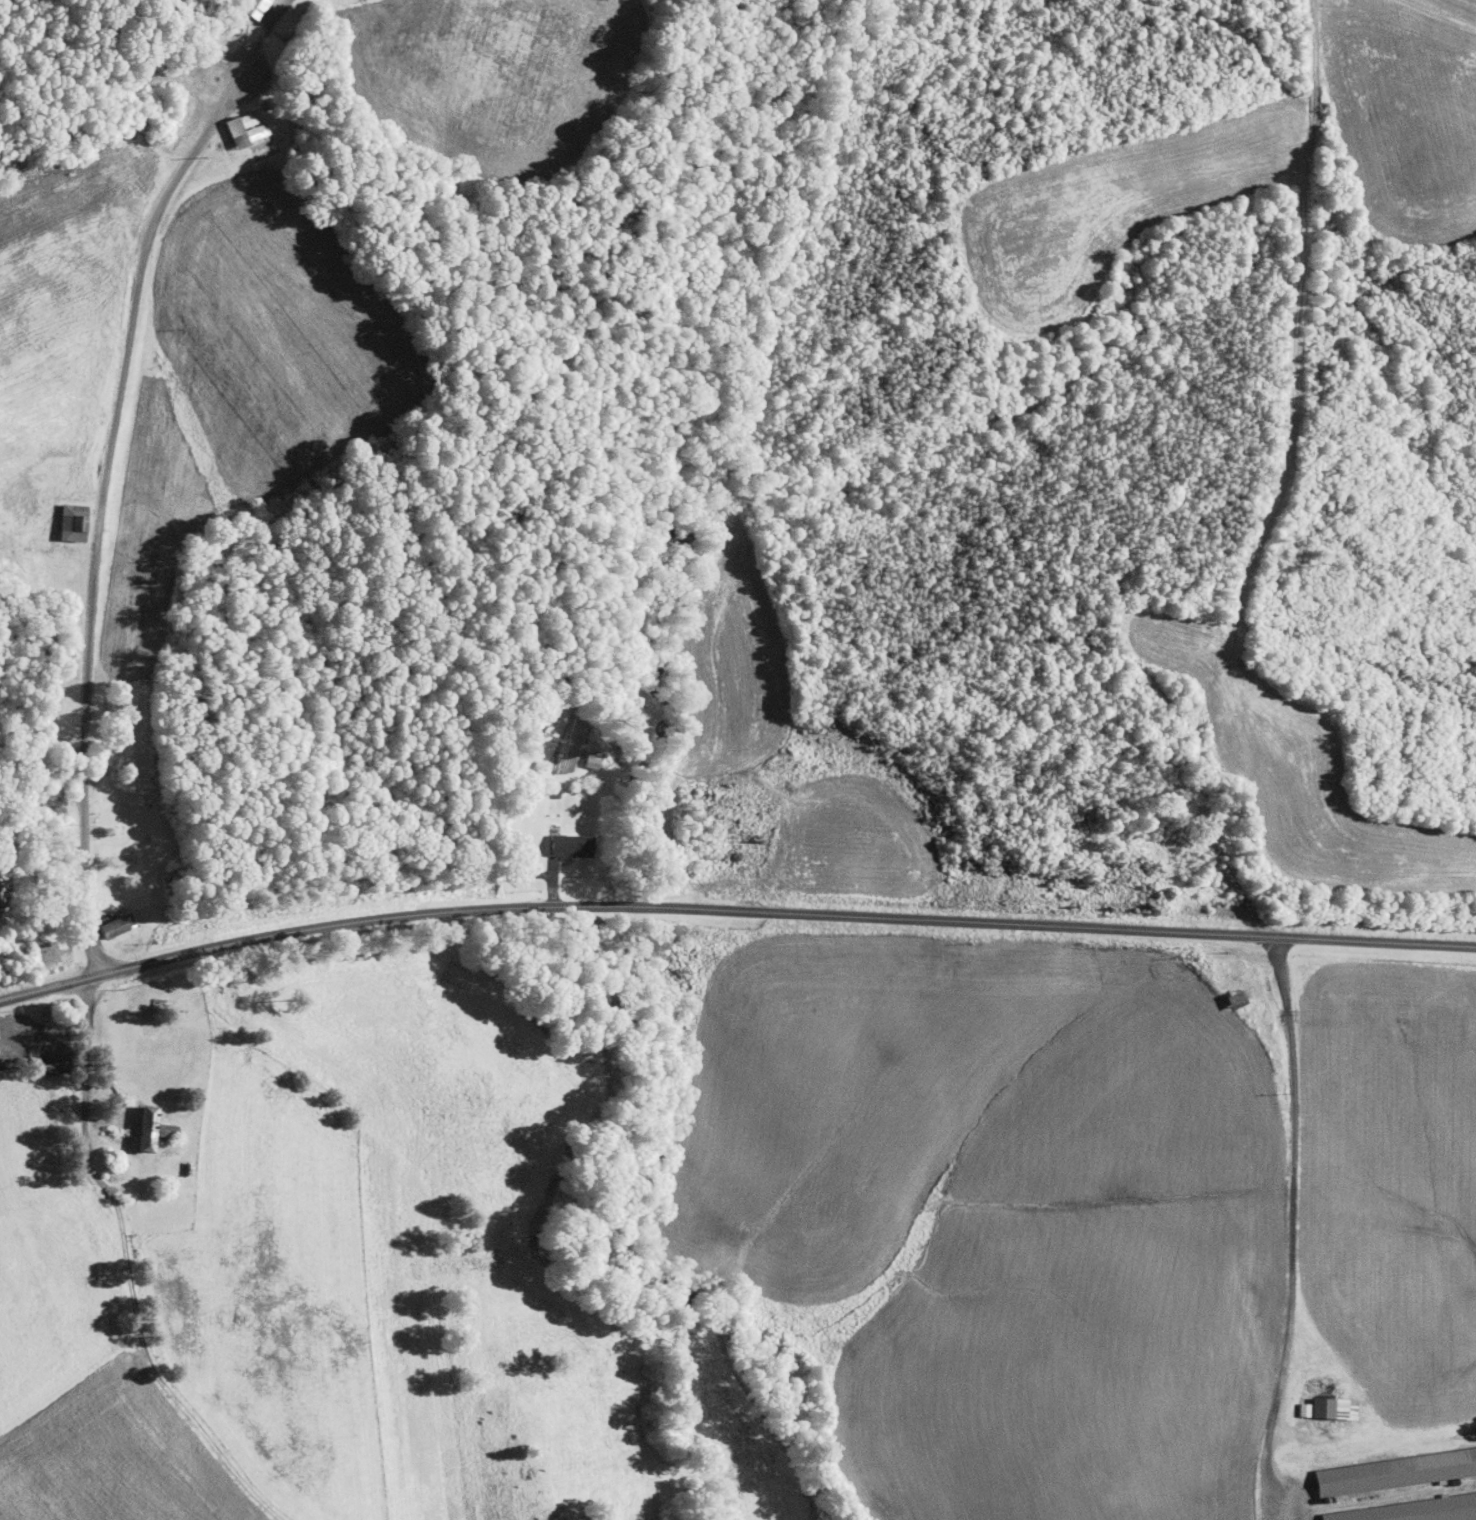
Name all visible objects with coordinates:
building: (242, 5)
building: (233, 122)
road: (104, 467)
building: (578, 753)
building: (558, 839)
road: (733, 910)
building: (99, 920)
road: (85, 1053)
building: (138, 1123)
road: (1292, 1228)
building: (1317, 1401)
building: (1389, 1464)
building: (1400, 1505)

